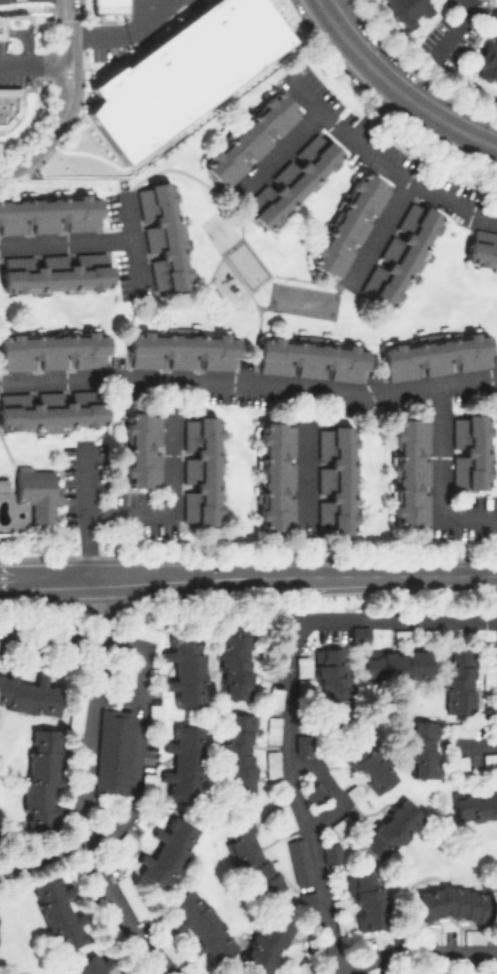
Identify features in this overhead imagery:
building: (496, 3)
building: (108, 6)
building: (407, 11)
building: (1, 27)
road: (455, 30)
road: (129, 35)
road: (352, 46)
building: (486, 61)
road: (38, 64)
building: (182, 71)
road: (76, 76)
building: (9, 105)
road: (444, 119)
building: (249, 139)
road: (275, 152)
road: (103, 158)
road: (25, 160)
road: (382, 162)
building: (291, 180)
building: (48, 215)
building: (348, 225)
road: (376, 232)
building: (161, 236)
road: (64, 242)
road: (130, 244)
building: (481, 249)
building: (399, 255)
building: (54, 272)
road: (257, 285)
building: (181, 351)
building: (53, 352)
building: (435, 356)
building: (309, 359)
road: (249, 385)
building: (51, 409)
building: (141, 448)
building: (470, 451)
road: (303, 462)
building: (200, 469)
building: (411, 472)
building: (275, 475)
building: (335, 479)
road: (437, 481)
road: (169, 488)
building: (36, 492)
road: (84, 509)
road: (248, 576)
building: (359, 633)
building: (400, 634)
building: (429, 636)
building: (235, 659)
building: (396, 663)
building: (301, 666)
building: (186, 668)
building: (489, 678)
building: (458, 680)
building: (302, 686)
building: (331, 687)
building: (274, 693)
building: (29, 694)
road: (288, 699)
building: (154, 713)
building: (77, 714)
building: (272, 727)
road: (137, 732)
building: (302, 743)
road: (472, 746)
building: (421, 748)
building: (112, 751)
building: (236, 754)
building: (490, 759)
building: (184, 762)
building: (271, 765)
building: (368, 765)
building: (43, 779)
building: (147, 781)
road: (84, 790)
building: (313, 792)
building: (474, 802)
building: (284, 817)
building: (341, 824)
building: (390, 829)
building: (331, 851)
building: (167, 852)
building: (249, 857)
building: (298, 860)
building: (130, 896)
building: (366, 900)
building: (452, 903)
building: (58, 911)
building: (201, 924)
building: (111, 930)
building: (427, 933)
building: (472, 936)
building: (266, 943)
road: (411, 950)
building: (172, 951)
road: (470, 962)
building: (94, 965)
building: (299, 968)

